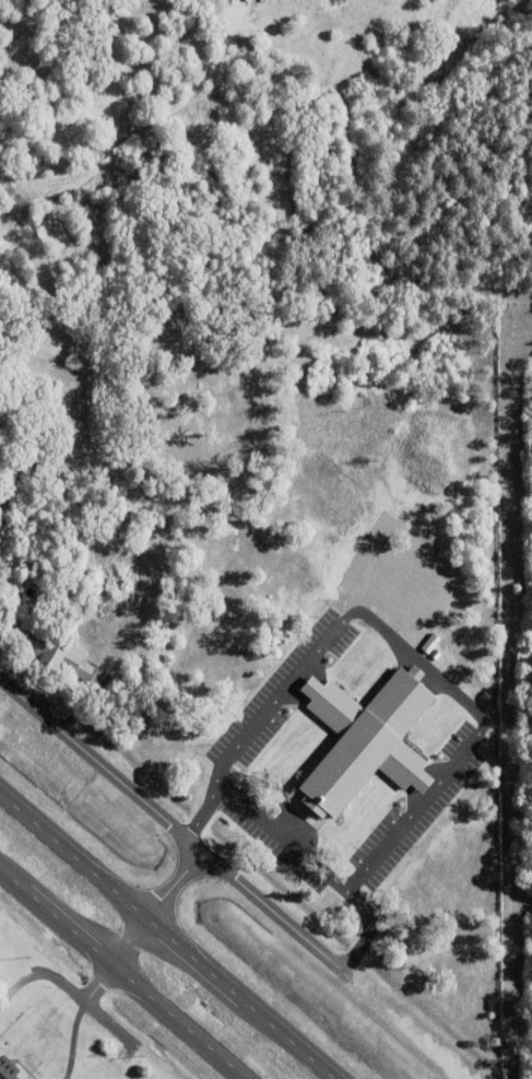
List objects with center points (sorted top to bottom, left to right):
building: (244, 16)
road: (162, 110)
building: (277, 134)
building: (108, 313)
building: (5, 329)
building: (2, 435)
building: (50, 456)
building: (17, 461)
building: (42, 577)
building: (62, 600)
road: (393, 640)
building: (55, 655)
building: (365, 741)
building: (441, 798)
road: (170, 826)
road: (281, 831)
building: (368, 854)
building: (404, 891)
road: (141, 927)
road: (363, 929)
road: (164, 936)
road: (121, 975)
building: (7, 1069)

